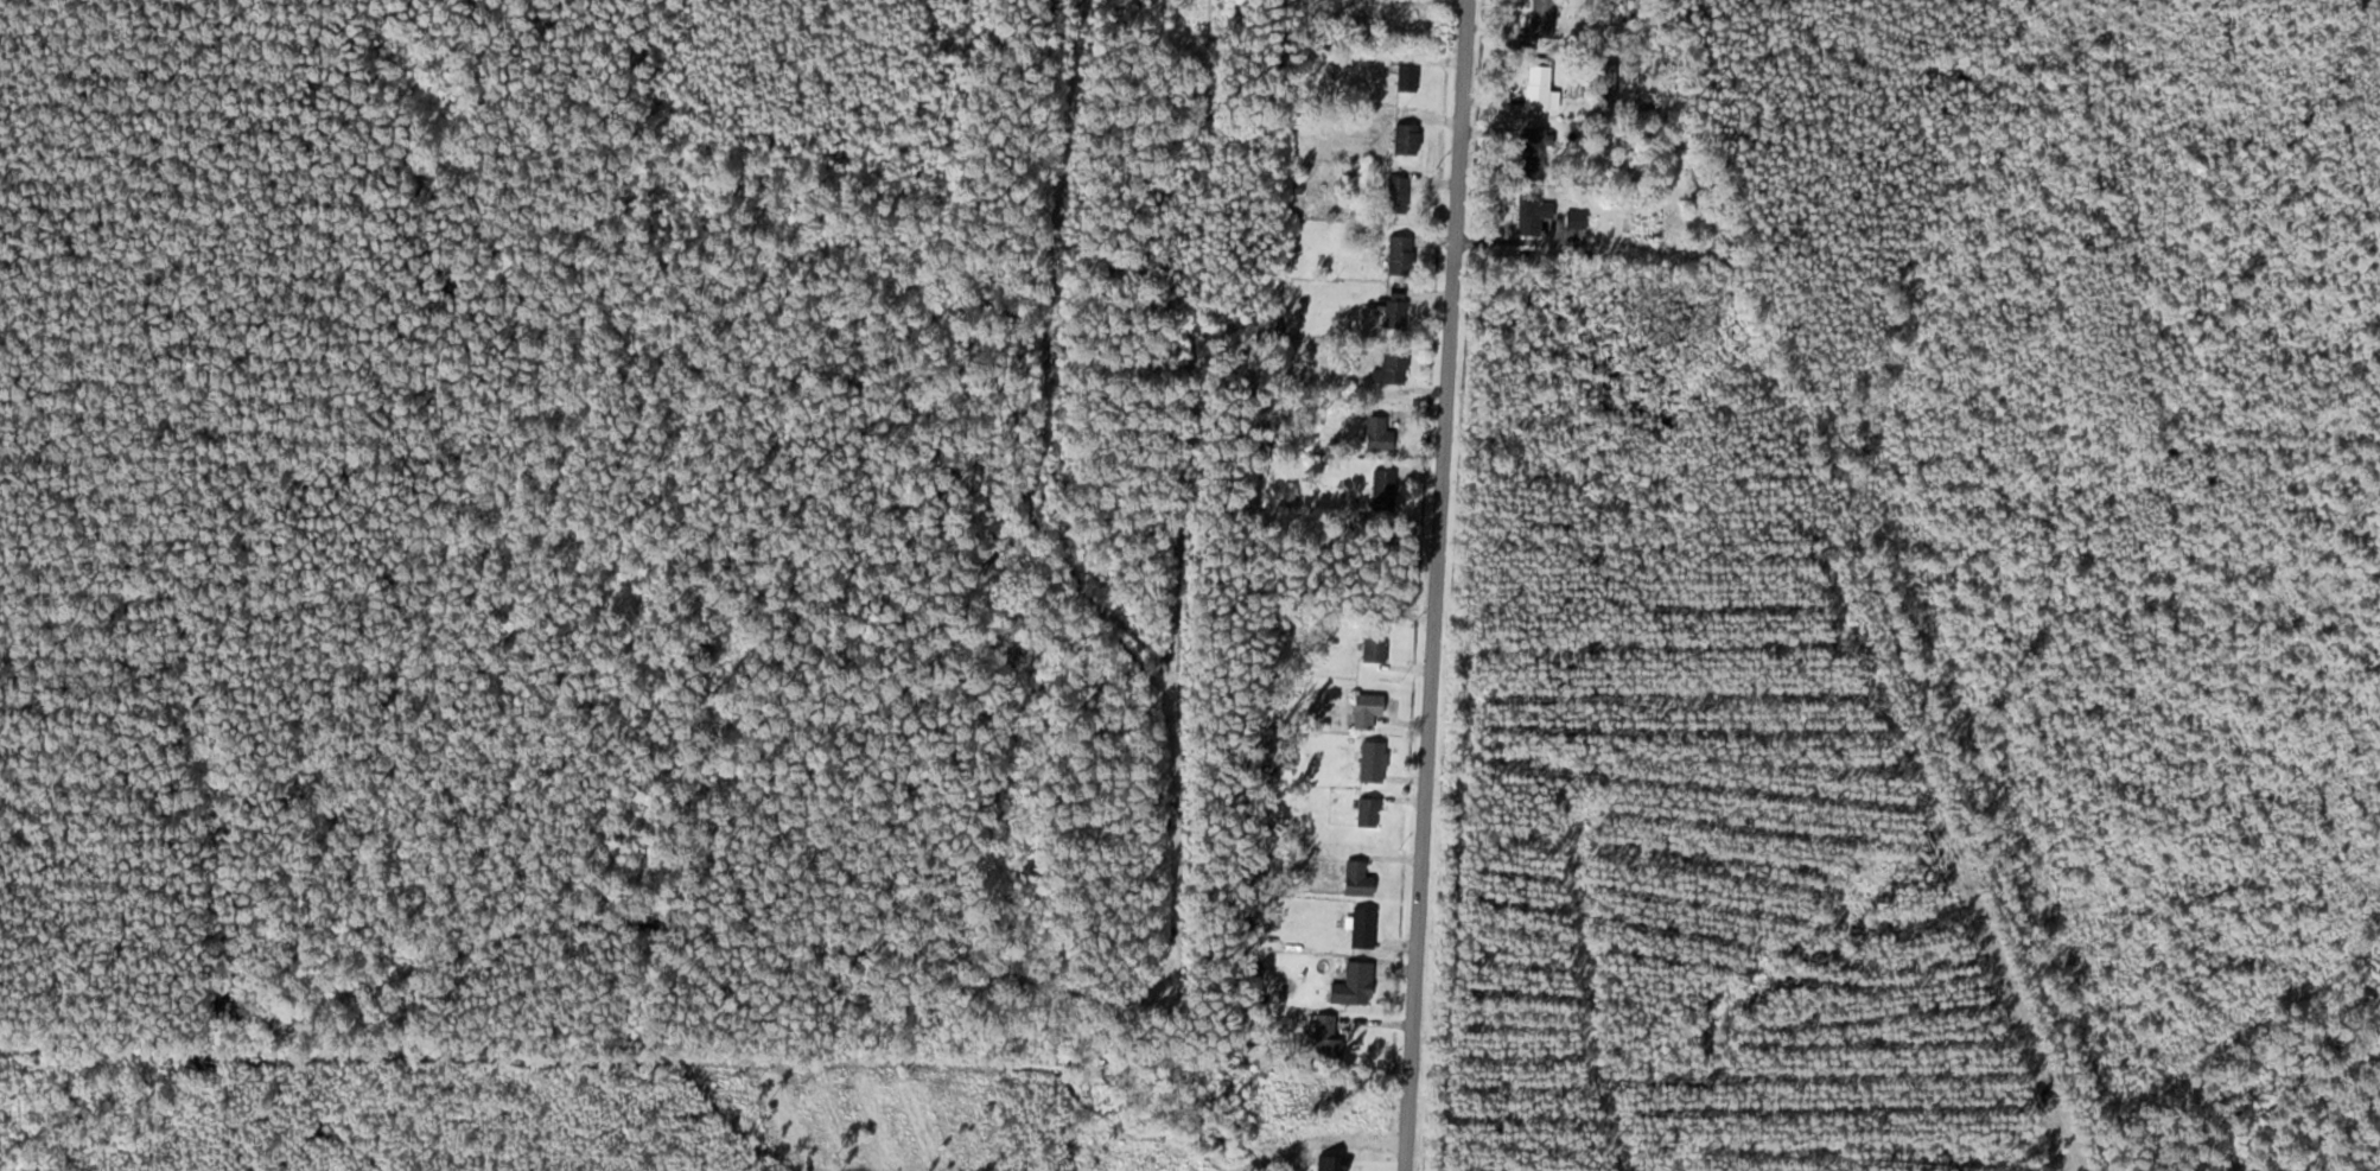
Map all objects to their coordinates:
building: (1379, 17)
building: (1538, 21)
building: (1405, 77)
building: (1536, 88)
building: (1405, 139)
building: (1531, 145)
building: (1394, 195)
building: (1529, 211)
building: (1574, 218)
building: (1398, 255)
building: (1394, 314)
building: (1389, 368)
building: (1376, 434)
building: (1381, 491)
road: (1449, 585)
road: (1839, 591)
building: (1373, 645)
building: (1364, 709)
building: (1372, 762)
building: (1366, 813)
building: (1355, 879)
building: (1361, 928)
building: (1351, 986)
building: (1324, 1038)

